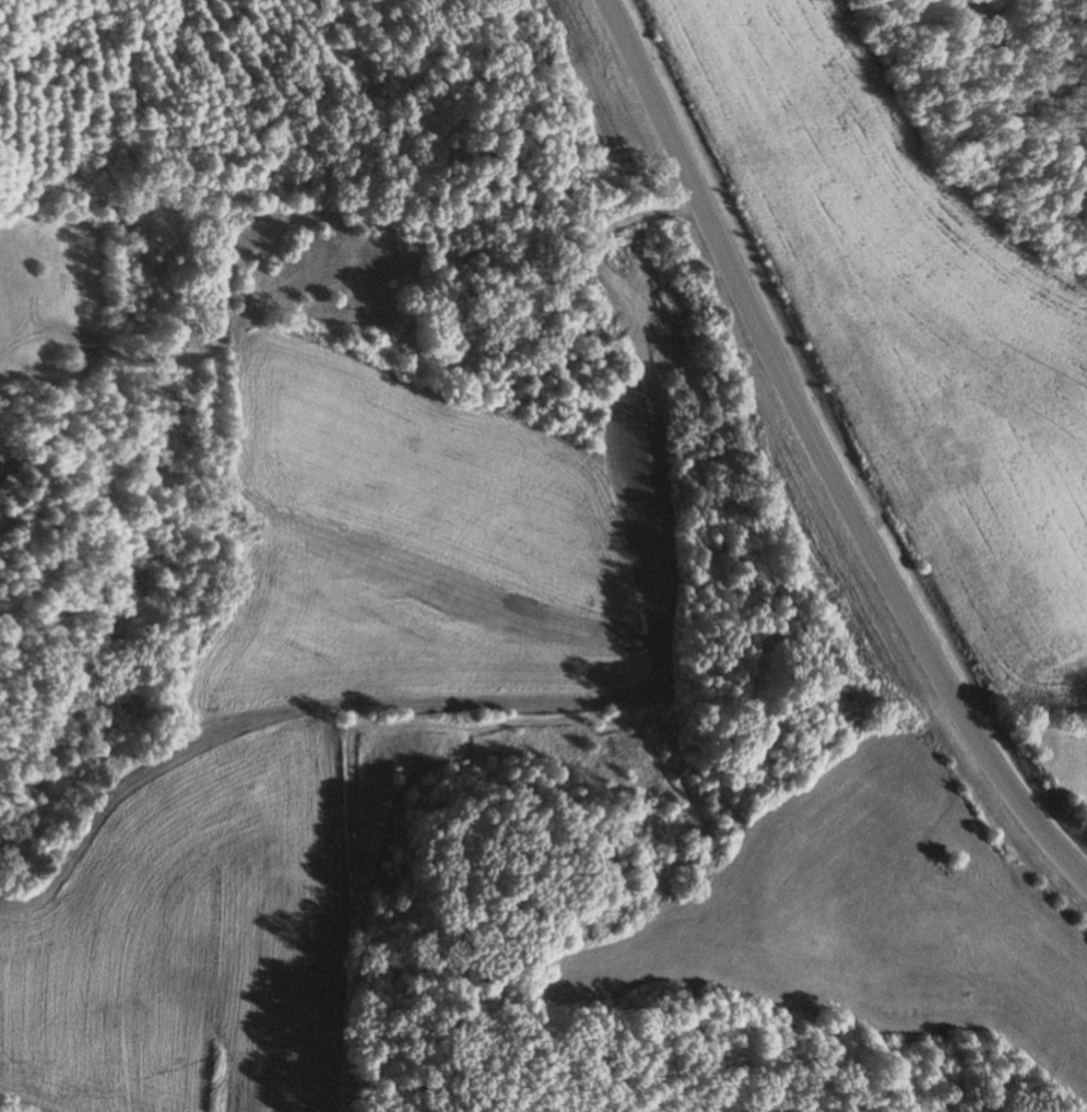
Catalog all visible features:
road: (823, 454)

